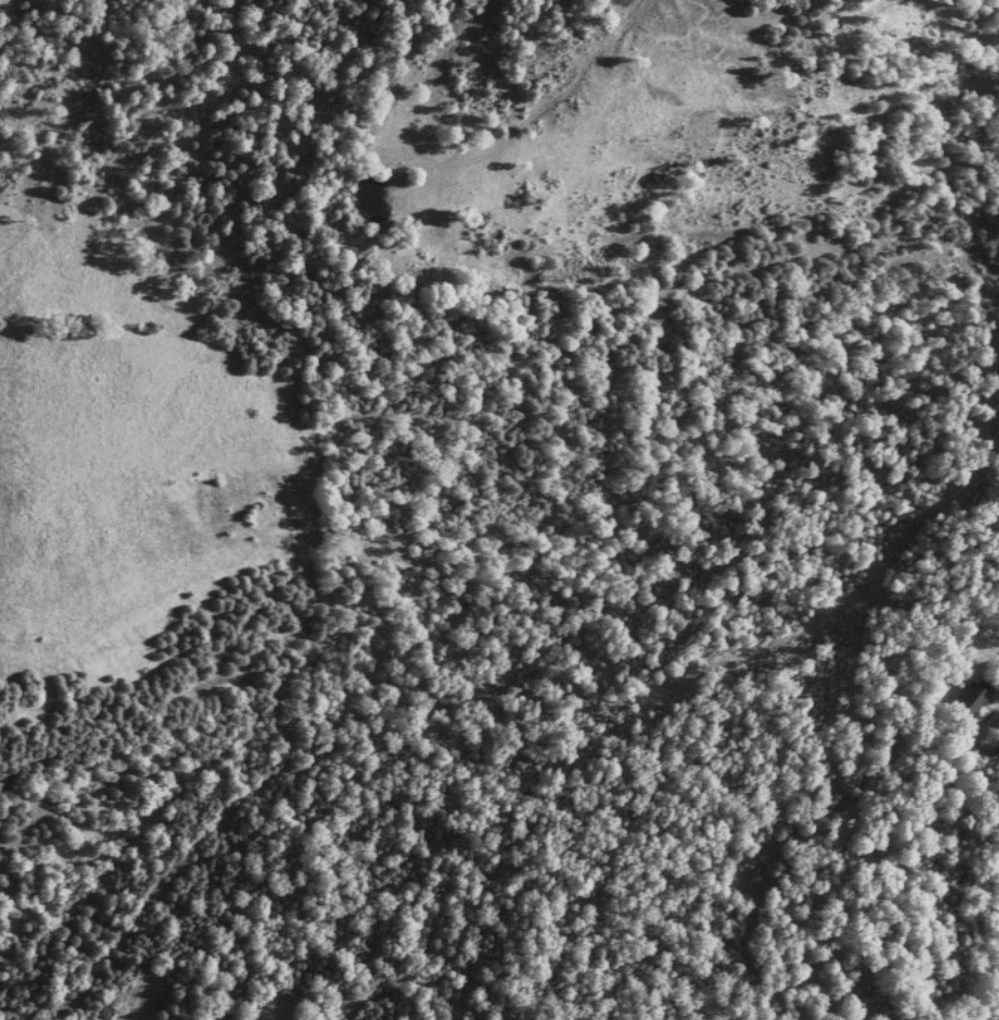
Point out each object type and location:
building: (973, 694)

